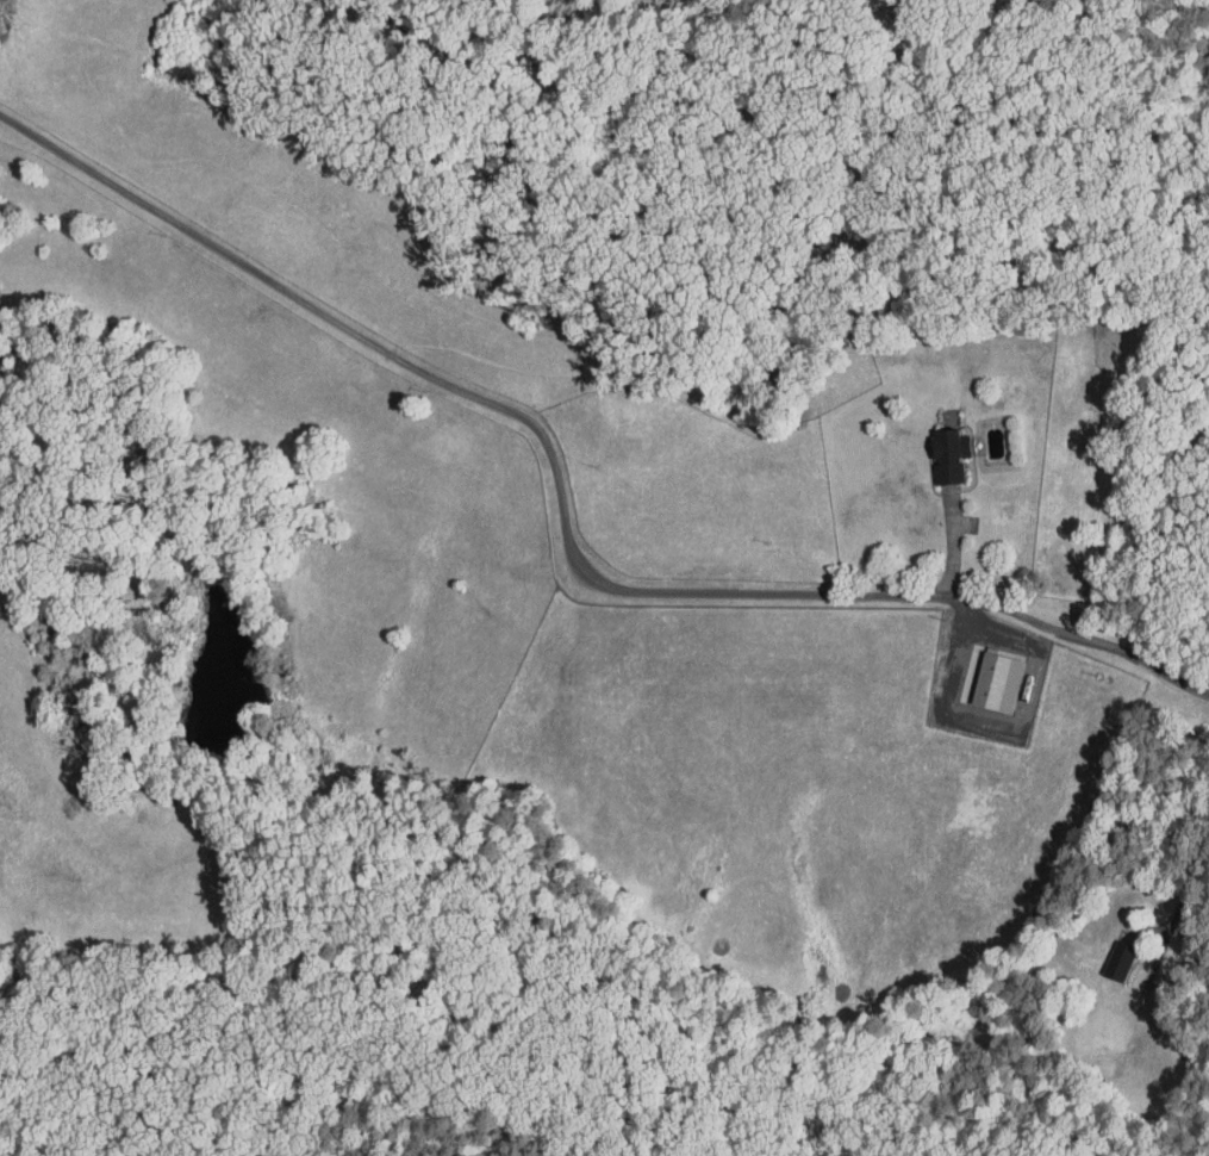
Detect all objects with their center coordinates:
building: (933, 448)
road: (563, 511)
building: (981, 675)
road: (1008, 721)
road: (1185, 897)
building: (1103, 955)

